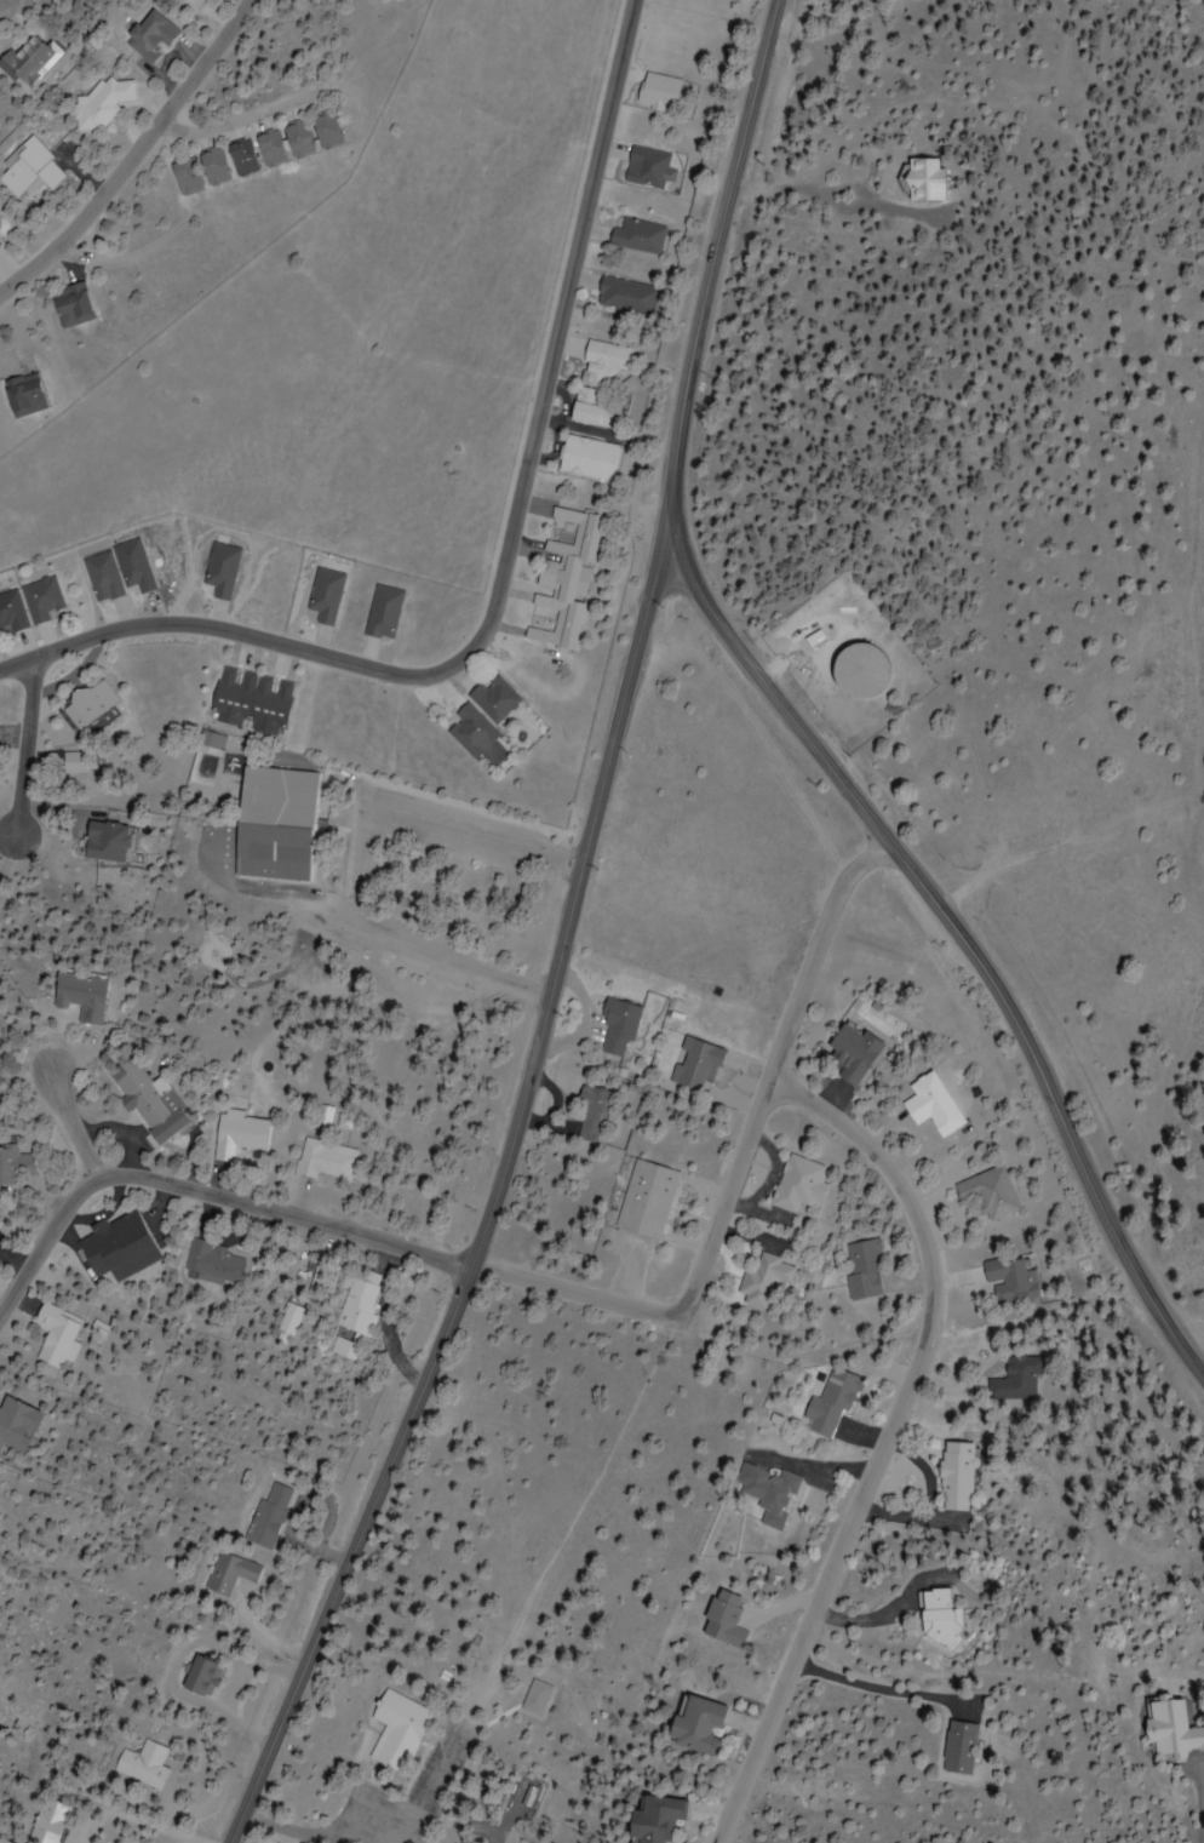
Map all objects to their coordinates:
building: (150, 36)
building: (27, 59)
building: (107, 99)
road: (241, 118)
road: (134, 155)
building: (213, 166)
building: (648, 167)
building: (29, 170)
building: (638, 236)
building: (0, 244)
building: (627, 296)
building: (70, 305)
building: (596, 378)
building: (22, 394)
building: (584, 458)
building: (134, 566)
road: (503, 568)
building: (222, 570)
building: (104, 577)
building: (561, 578)
building: (326, 596)
building: (45, 599)
building: (13, 611)
building: (383, 612)
building: (856, 671)
building: (493, 699)
building: (254, 702)
building: (92, 704)
road: (792, 727)
building: (469, 729)
road: (30, 746)
building: (80, 762)
building: (275, 824)
building: (108, 841)
building: (81, 995)
building: (619, 1029)
building: (848, 1052)
building: (695, 1065)
building: (150, 1100)
building: (925, 1103)
building: (592, 1115)
road: (75, 1122)
building: (239, 1134)
building: (328, 1160)
building: (21, 1166)
road: (735, 1172)
building: (793, 1183)
road: (497, 1187)
building: (984, 1192)
building: (646, 1200)
road: (287, 1215)
road: (45, 1244)
building: (117, 1248)
building: (212, 1265)
building: (859, 1267)
building: (761, 1280)
building: (1007, 1280)
building: (354, 1309)
building: (57, 1335)
building: (1016, 1379)
building: (830, 1404)
building: (16, 1424)
road: (889, 1442)
building: (958, 1476)
building: (773, 1494)
building: (265, 1515)
building: (227, 1573)
building: (938, 1619)
building: (724, 1620)
building: (195, 1676)
building: (538, 1699)
building: (694, 1725)
building: (1171, 1728)
building: (392, 1729)
building: (958, 1747)
building: (138, 1764)
building: (653, 1819)
building: (44, 1821)

